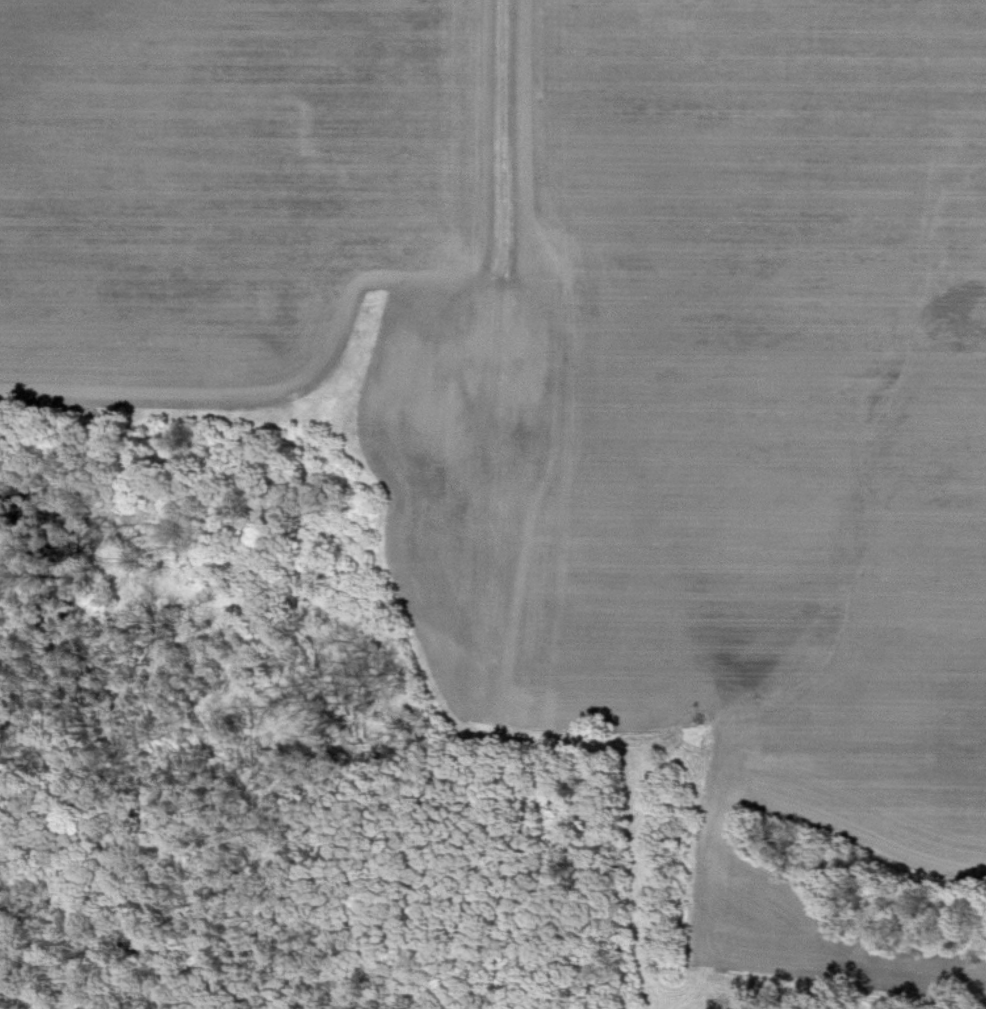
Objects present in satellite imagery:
road: (500, 215)
building: (503, 318)
building: (410, 359)

